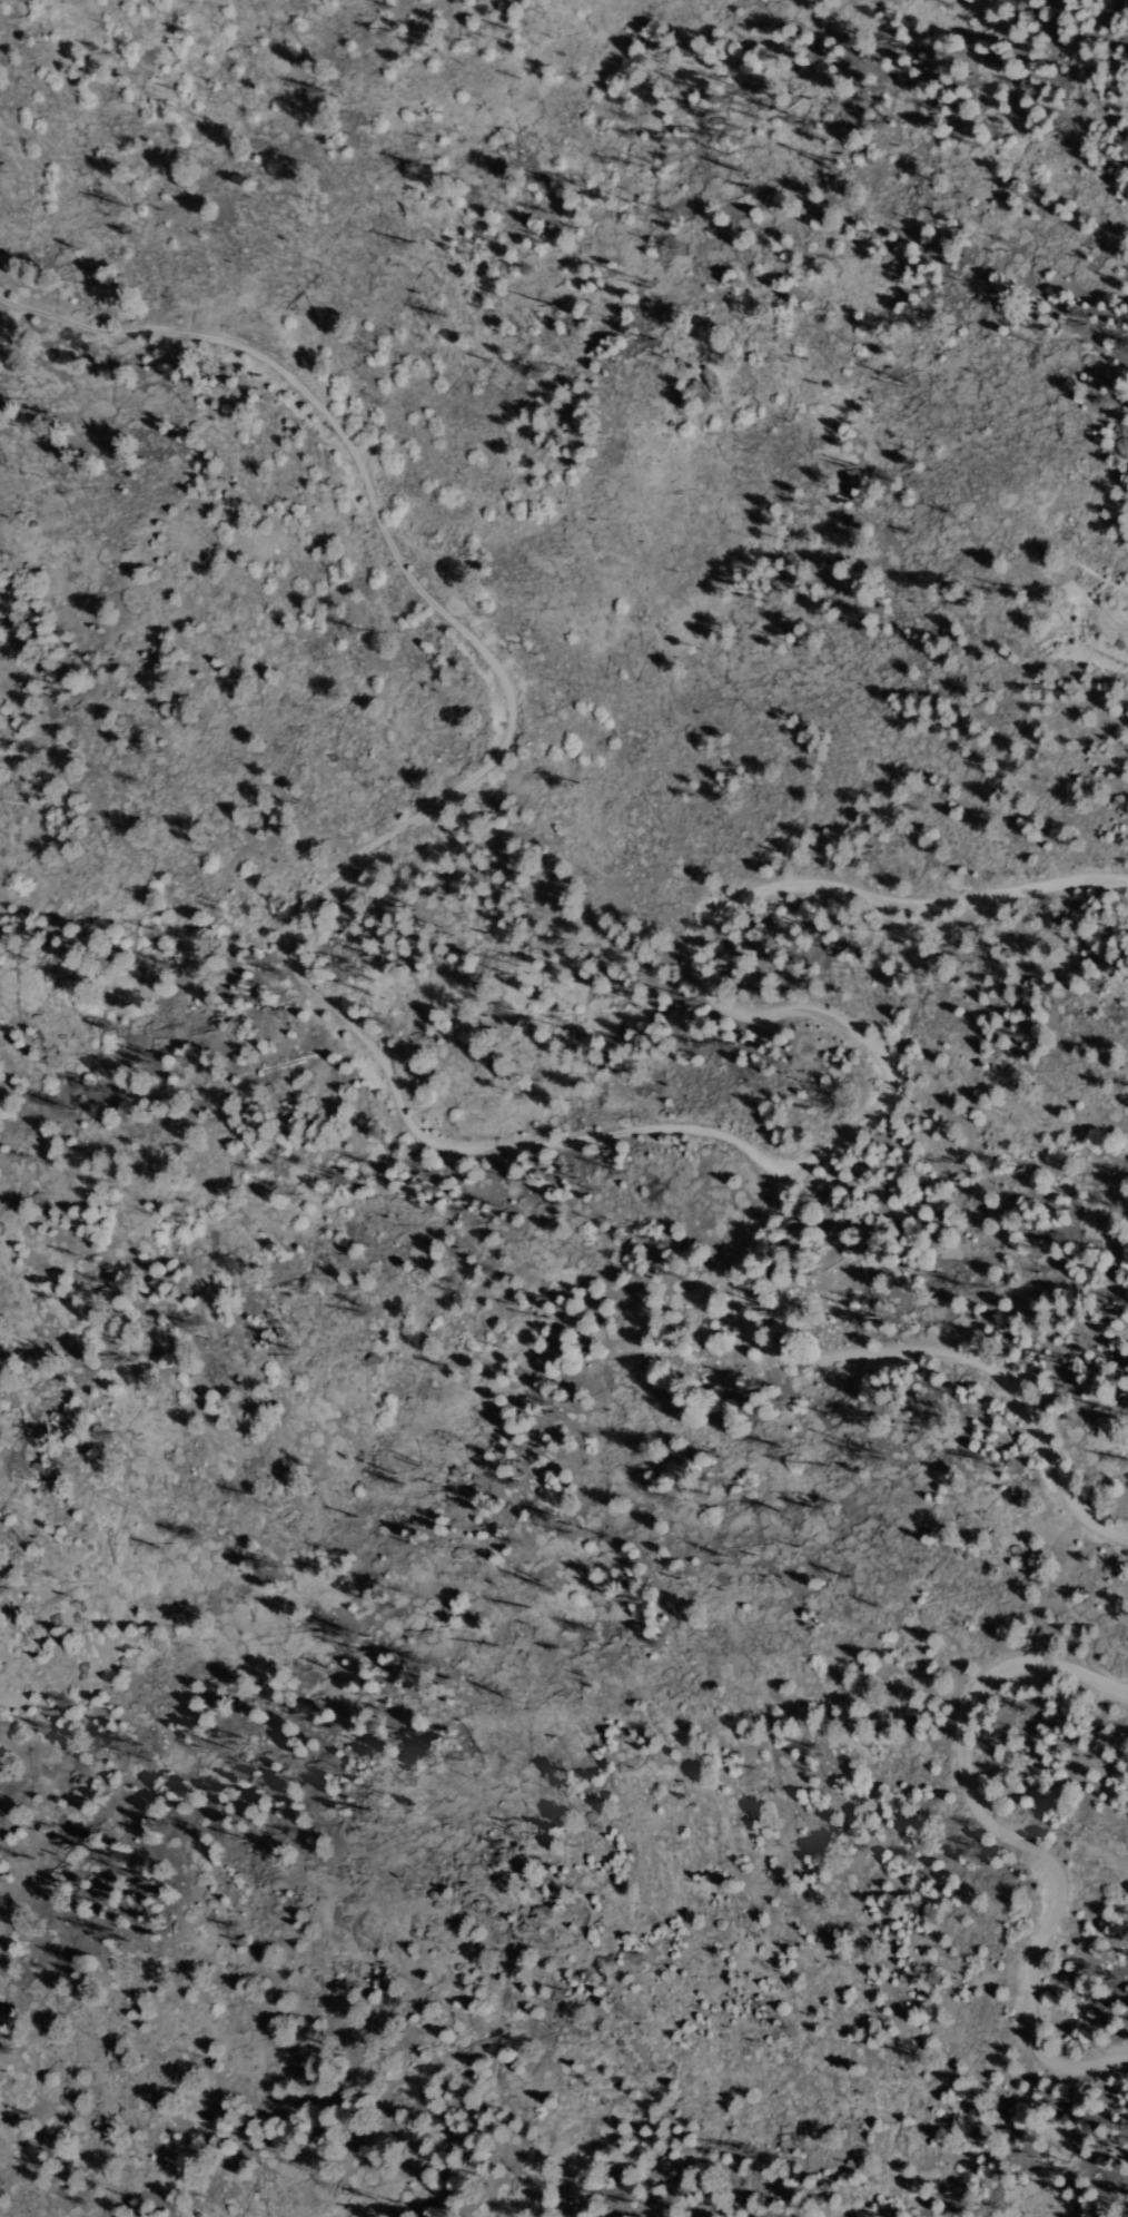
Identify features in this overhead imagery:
quarry: (1088, 618)
road: (431, 796)
road: (881, 1108)
road: (1012, 1834)

